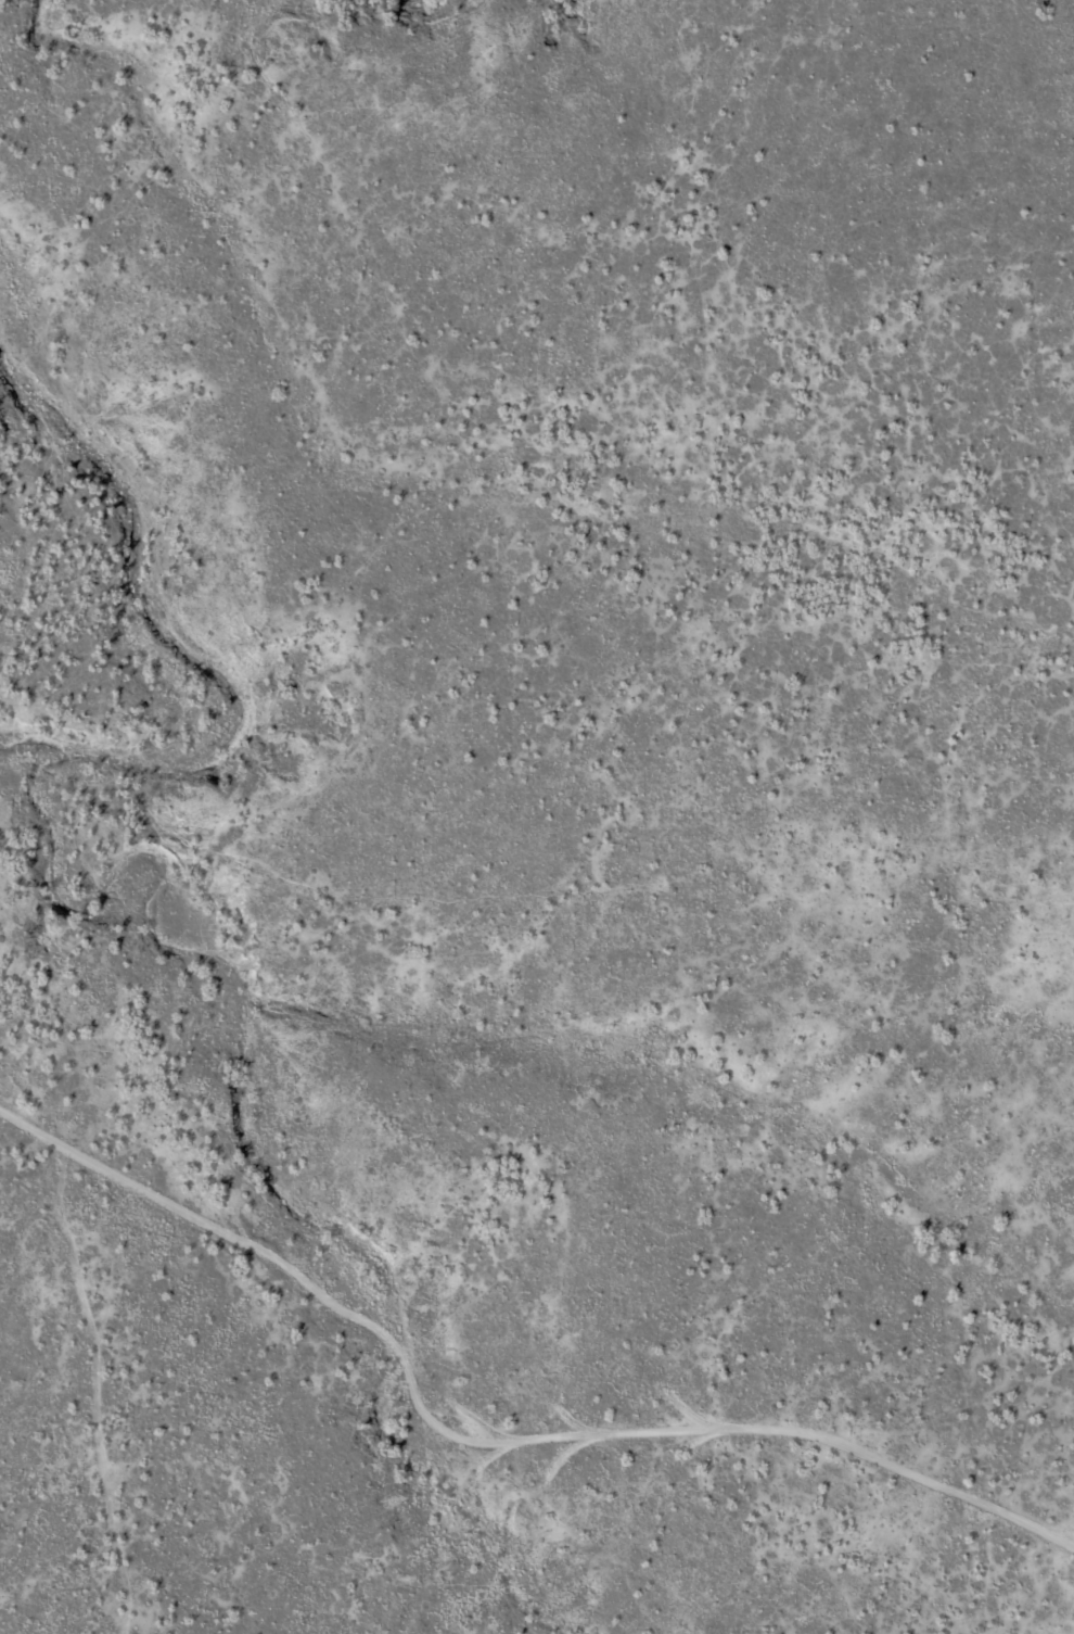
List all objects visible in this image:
road: (541, 1352)

